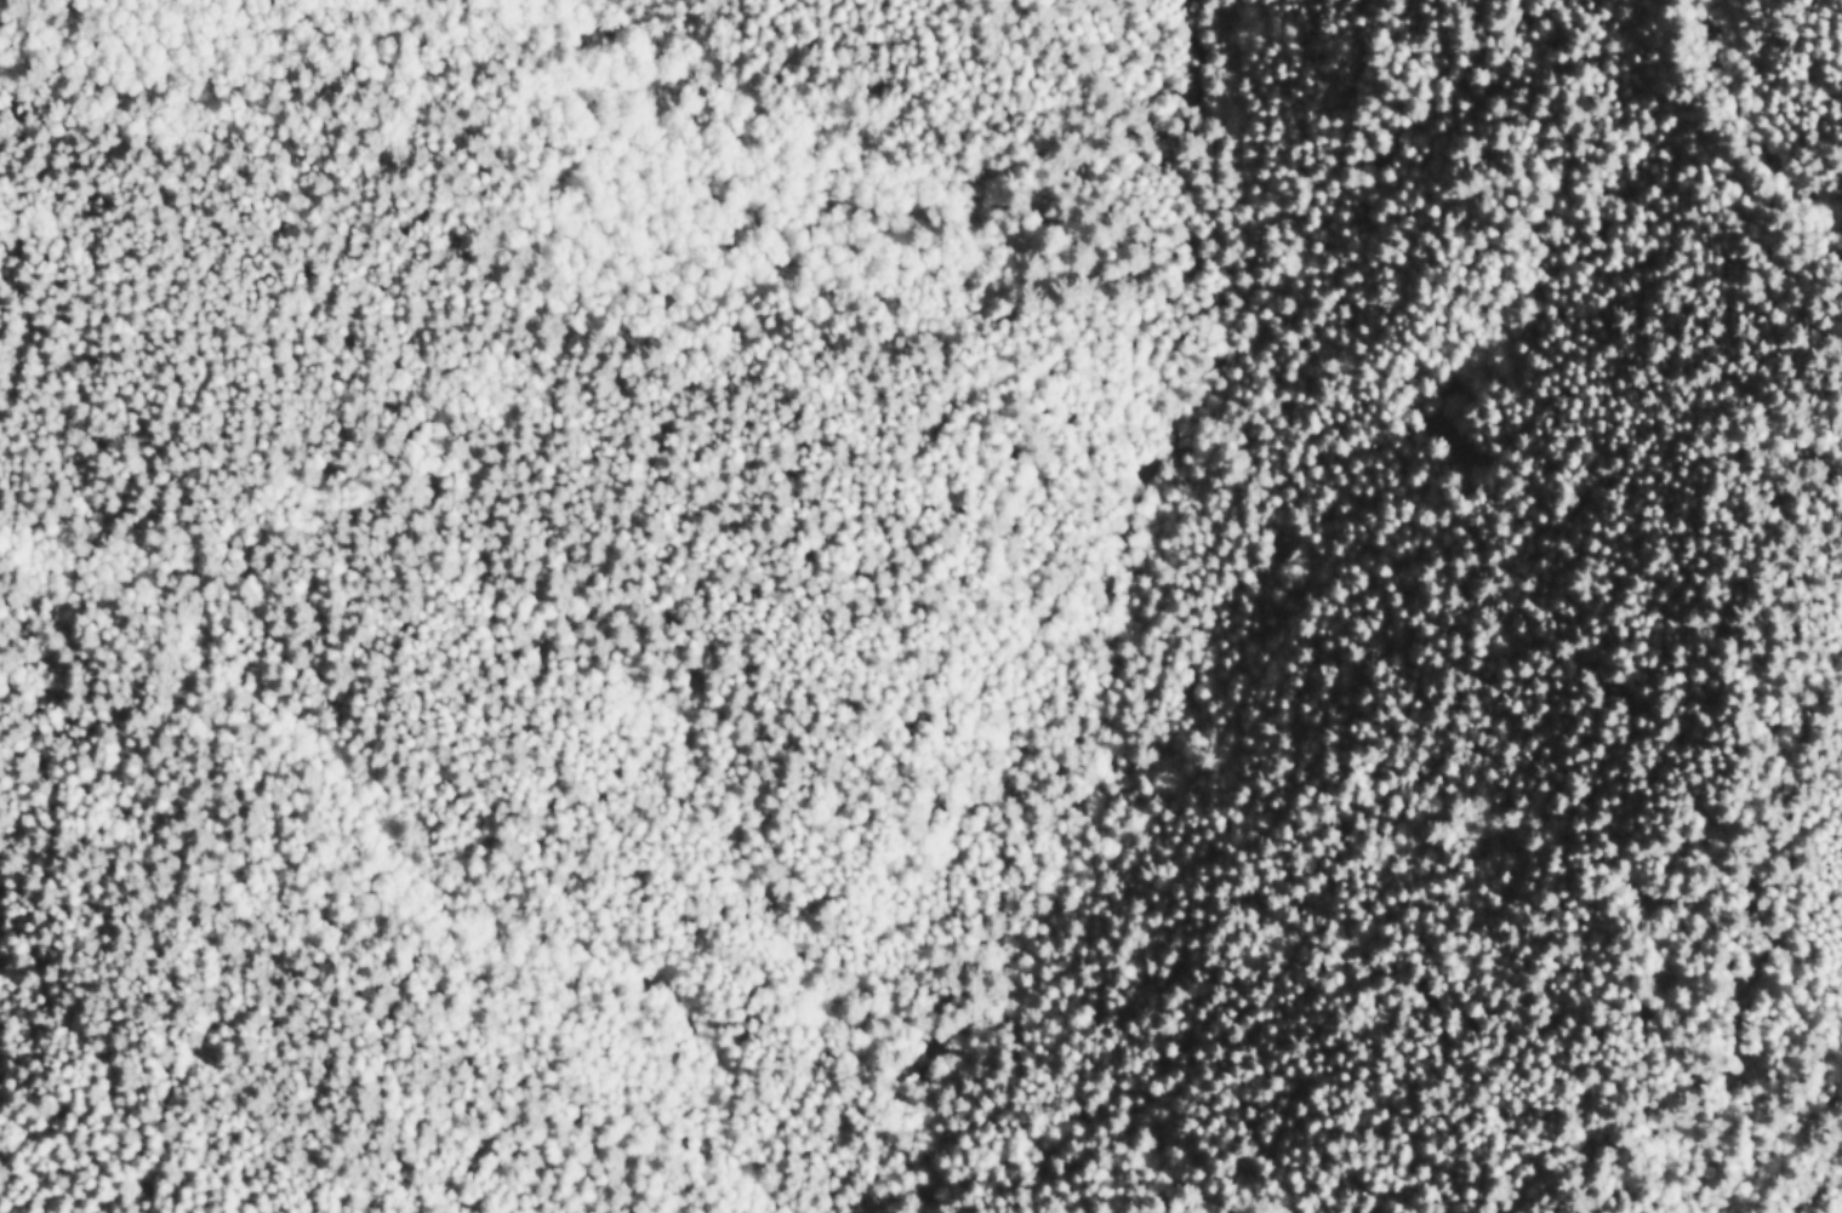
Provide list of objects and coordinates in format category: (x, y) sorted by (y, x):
road: (1784, 1157)

